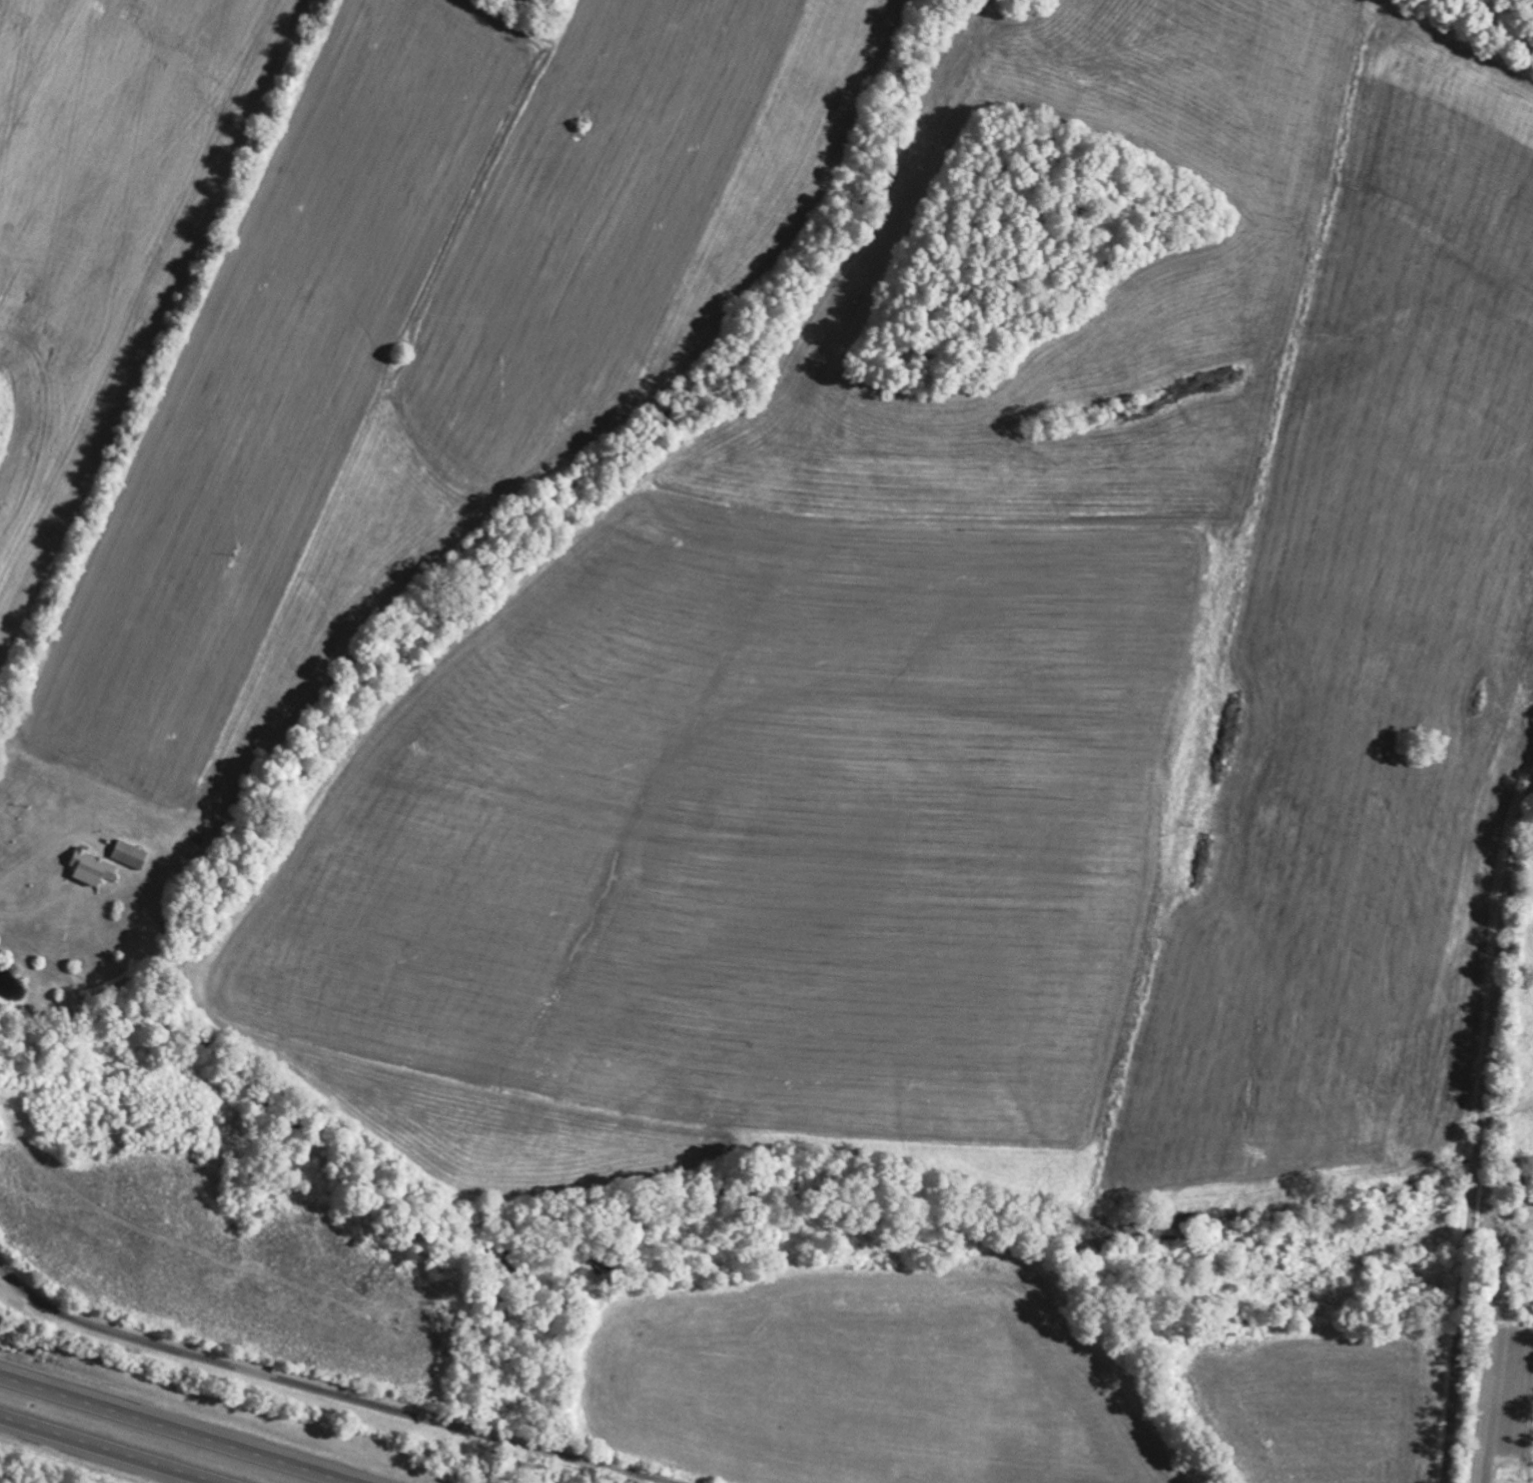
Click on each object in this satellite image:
building: (130, 854)
building: (93, 867)
road: (1476, 1133)
road: (324, 1391)
road: (179, 1428)
road: (113, 1448)

